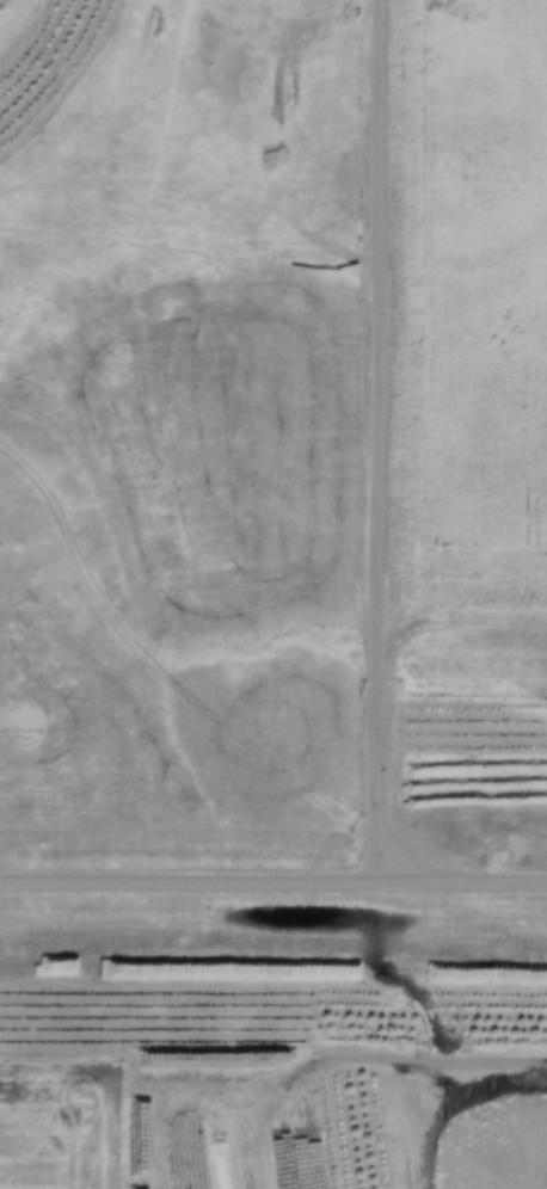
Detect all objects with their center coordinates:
road: (272, 881)

